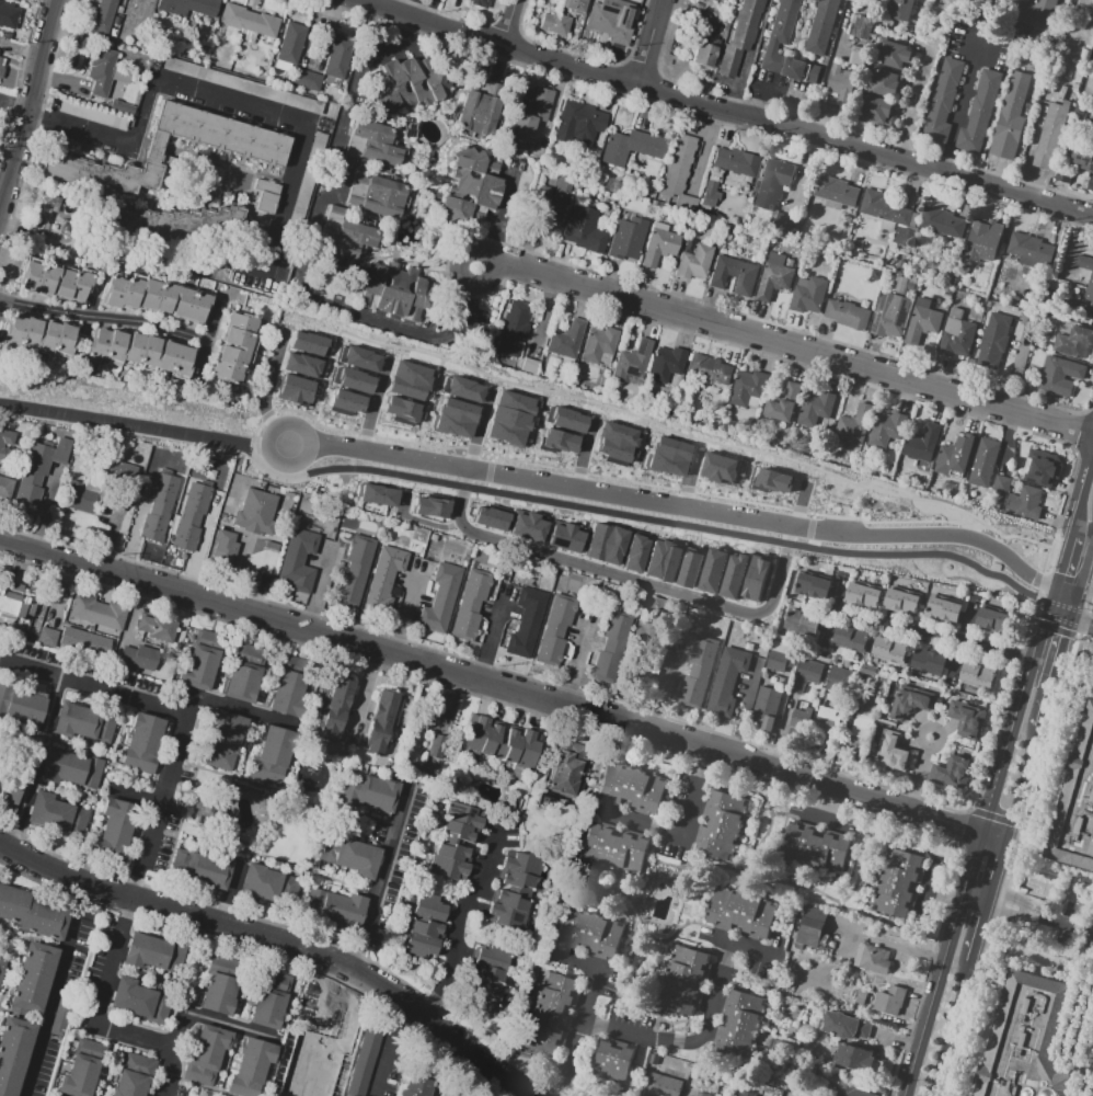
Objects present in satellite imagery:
building: (478, 2)
building: (576, 5)
building: (188, 8)
building: (902, 10)
building: (1036, 14)
building: (101, 15)
building: (10, 16)
road: (509, 21)
building: (248, 24)
building: (609, 24)
building: (557, 26)
building: (824, 27)
building: (861, 28)
building: (743, 35)
road: (648, 41)
building: (288, 44)
building: (787, 47)
building: (704, 53)
building: (336, 56)
building: (896, 57)
building: (1, 64)
building: (103, 72)
building: (303, 80)
building: (239, 84)
building: (842, 84)
building: (116, 85)
building: (411, 85)
building: (887, 85)
road: (775, 92)
road: (207, 94)
road: (27, 99)
building: (521, 102)
building: (944, 104)
road: (916, 105)
building: (480, 107)
road: (726, 107)
road: (11, 109)
road: (960, 110)
building: (980, 114)
building: (877, 115)
building: (531, 117)
building: (1013, 117)
building: (585, 123)
building: (1092, 127)
building: (1051, 136)
building: (372, 145)
building: (635, 148)
building: (1082, 158)
building: (271, 160)
building: (738, 163)
building: (1065, 176)
building: (681, 179)
building: (1091, 183)
building: (774, 184)
building: (470, 186)
building: (837, 192)
building: (711, 195)
building: (300, 197)
building: (377, 197)
building: (266, 199)
building: (549, 208)
building: (884, 209)
building: (943, 222)
building: (786, 226)
building: (169, 227)
building: (584, 235)
building: (348, 236)
building: (626, 240)
building: (983, 242)
road: (306, 246)
building: (660, 248)
building: (1033, 250)
building: (1084, 261)
building: (695, 263)
building: (735, 277)
building: (774, 282)
building: (54, 283)
building: (391, 292)
building: (812, 298)
building: (157, 299)
building: (1081, 307)
road: (106, 316)
building: (891, 316)
building: (850, 317)
building: (923, 326)
building: (511, 331)
building: (37, 335)
building: (566, 340)
building: (957, 340)
road: (337, 341)
building: (307, 343)
building: (996, 343)
road: (785, 344)
building: (1075, 344)
building: (599, 347)
building: (234, 349)
building: (139, 352)
building: (359, 358)
building: (632, 362)
building: (666, 364)
building: (301, 365)
building: (706, 369)
building: (1061, 378)
building: (353, 380)
building: (407, 380)
building: (745, 388)
building: (292, 389)
building: (462, 389)
road: (268, 390)
road: (432, 399)
building: (343, 402)
building: (781, 404)
road: (376, 406)
building: (815, 408)
building: (399, 410)
road: (276, 414)
building: (453, 418)
building: (508, 418)
building: (565, 419)
building: (850, 424)
road: (539, 426)
building: (884, 429)
building: (556, 441)
building: (613, 443)
building: (7, 445)
building: (920, 445)
road: (643, 450)
road: (588, 453)
building: (666, 456)
building: (952, 459)
building: (1032, 464)
building: (982, 465)
building: (718, 468)
road: (748, 475)
building: (43, 476)
building: (123, 477)
road: (693, 480)
building: (771, 480)
building: (999, 483)
building: (5, 490)
road: (1080, 492)
building: (87, 495)
road: (521, 495)
building: (379, 498)
building: (1022, 501)
road: (677, 506)
building: (161, 509)
building: (432, 509)
road: (803, 509)
building: (258, 514)
building: (491, 518)
building: (193, 520)
building: (527, 528)
building: (565, 537)
building: (598, 540)
building: (614, 545)
building: (227, 547)
building: (635, 549)
building: (661, 561)
building: (299, 563)
road: (590, 567)
building: (690, 568)
building: (712, 570)
road: (1056, 571)
building: (356, 572)
building: (733, 574)
building: (755, 579)
road: (1082, 579)
building: (387, 581)
building: (813, 587)
road: (317, 592)
building: (862, 596)
building: (442, 600)
building: (11, 601)
building: (901, 603)
building: (472, 607)
building: (942, 610)
building: (99, 613)
road: (1069, 616)
road: (402, 621)
building: (798, 623)
building: (993, 623)
building: (528, 624)
building: (160, 629)
building: (556, 632)
road: (488, 636)
road: (946, 637)
building: (49, 638)
building: (852, 639)
building: (87, 642)
road: (1063, 642)
building: (610, 649)
building: (889, 650)
road: (576, 655)
building: (780, 658)
building: (140, 659)
building: (642, 659)
building: (203, 662)
building: (930, 663)
building: (868, 670)
building: (699, 673)
building: (244, 674)
building: (807, 676)
building: (977, 677)
building: (840, 683)
building: (727, 684)
building: (289, 687)
road: (502, 693)
road: (1047, 698)
building: (909, 699)
road: (363, 700)
building: (23, 708)
building: (763, 708)
road: (232, 709)
building: (335, 709)
road: (184, 713)
building: (435, 713)
building: (968, 716)
building: (798, 718)
building: (85, 724)
building: (827, 724)
building: (382, 726)
building: (861, 734)
building: (226, 741)
building: (145, 743)
building: (502, 744)
building: (890, 753)
building: (275, 758)
building: (72, 770)
building: (567, 770)
building: (953, 773)
road: (919, 774)
road: (1022, 785)
building: (10, 789)
building: (632, 789)
building: (369, 792)
building: (1077, 806)
building: (59, 817)
building: (722, 827)
building: (114, 829)
road: (682, 832)
building: (456, 844)
building: (816, 848)
building: (615, 850)
road: (973, 850)
building: (349, 857)
road: (999, 864)
building: (202, 870)
road: (382, 880)
building: (898, 884)
building: (269, 886)
road: (991, 889)
building: (515, 891)
road: (1011, 898)
road: (973, 905)
building: (334, 910)
building: (31, 914)
building: (744, 914)
road: (1020, 916)
road: (459, 924)
building: (428, 927)
road: (1073, 927)
building: (813, 928)
road: (979, 928)
building: (589, 934)
road: (277, 938)
building: (142, 952)
building: (174, 952)
building: (875, 962)
building: (2, 966)
building: (33, 977)
building: (486, 977)
building: (684, 982)
road: (57, 991)
building: (216, 993)
building: (128, 998)
building: (891, 1003)
road: (100, 1004)
building: (265, 1008)
building: (314, 1014)
building: (553, 1014)
building: (341, 1017)
road: (580, 1024)
building: (740, 1025)
road: (240, 1026)
building: (847, 1027)
road: (950, 1030)
building: (1026, 1040)
road: (687, 1041)
road: (387, 1049)
building: (14, 1053)
road: (180, 1053)
building: (205, 1054)
building: (365, 1060)
building: (853, 1060)
building: (614, 1062)
building: (249, 1068)
building: (83, 1069)
building: (319, 1072)
building: (133, 1075)
building: (418, 1082)
building: (663, 1086)
building: (850, 1089)
building: (312, 1093)
building: (745, 1093)
road: (286, 1095)
building: (295, 1095)
building: (702, 1095)

